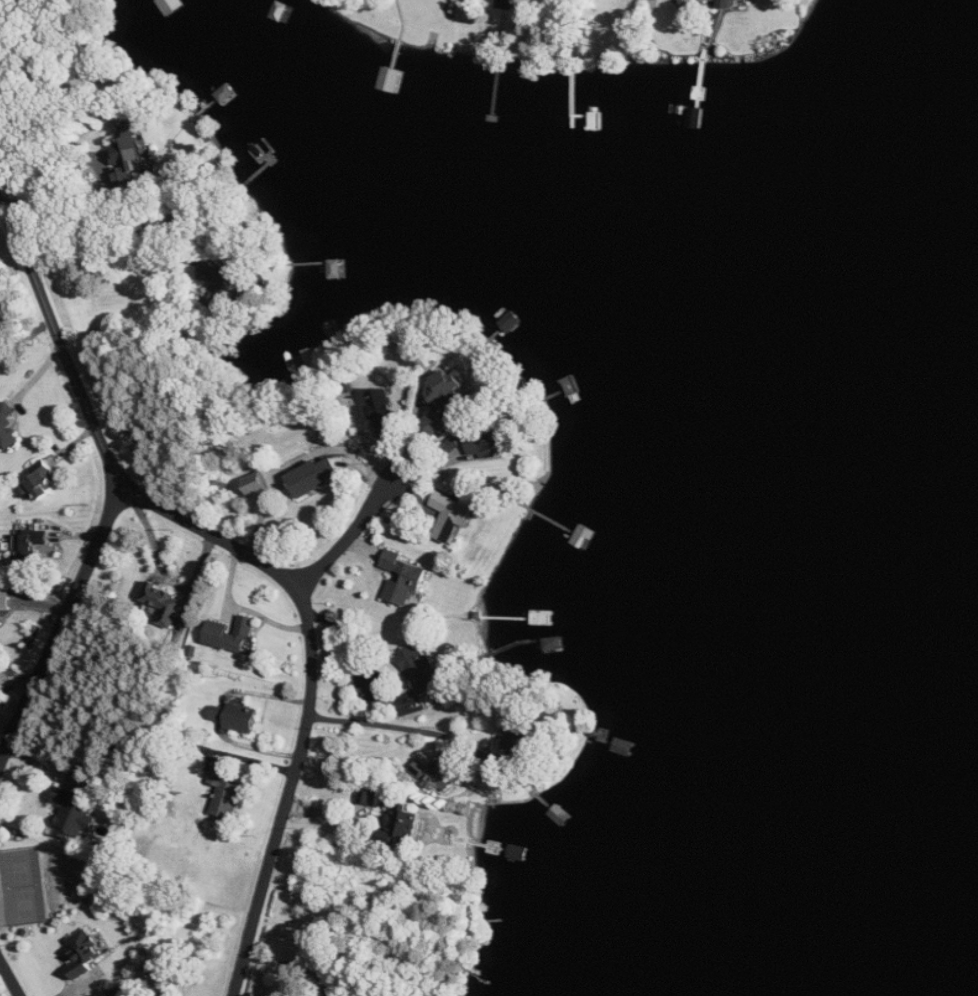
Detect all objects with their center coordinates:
building: (507, 4)
building: (728, 4)
building: (129, 154)
road: (23, 170)
road: (106, 180)
road: (223, 257)
building: (223, 281)
road: (64, 346)
building: (450, 393)
building: (384, 411)
building: (437, 423)
building: (8, 428)
building: (484, 445)
building: (313, 476)
building: (257, 483)
building: (42, 485)
building: (452, 516)
road: (346, 533)
building: (31, 542)
building: (416, 576)
building: (5, 599)
building: (166, 603)
road: (57, 631)
building: (231, 634)
building: (420, 668)
road: (312, 694)
building: (237, 722)
road: (408, 726)
building: (520, 737)
building: (441, 772)
building: (225, 792)
building: (369, 796)
building: (76, 813)
building: (402, 826)
building: (85, 953)
road: (291, 967)
road: (11, 974)
building: (121, 991)

